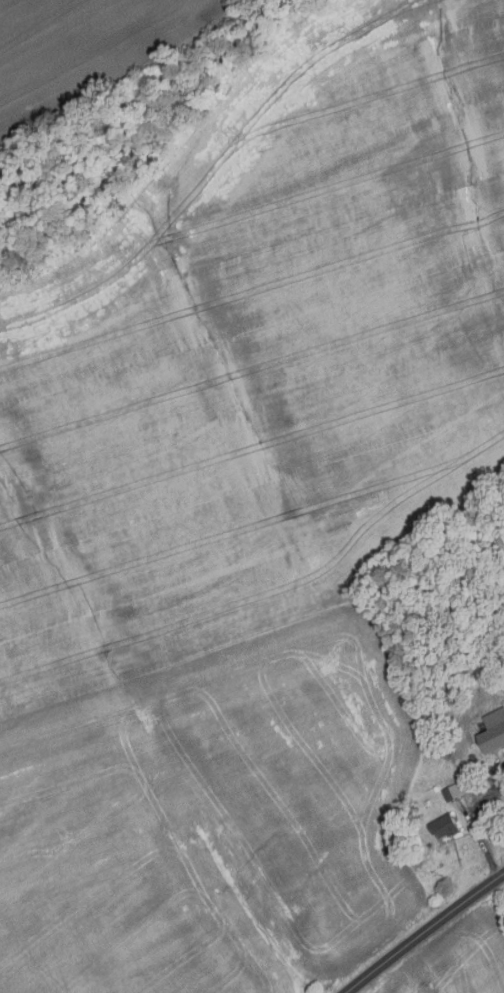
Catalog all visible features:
crop: (85, 50)
crop: (243, 511)
building: (493, 730)
building: (457, 789)
building: (447, 825)
road: (476, 826)
road: (424, 932)

